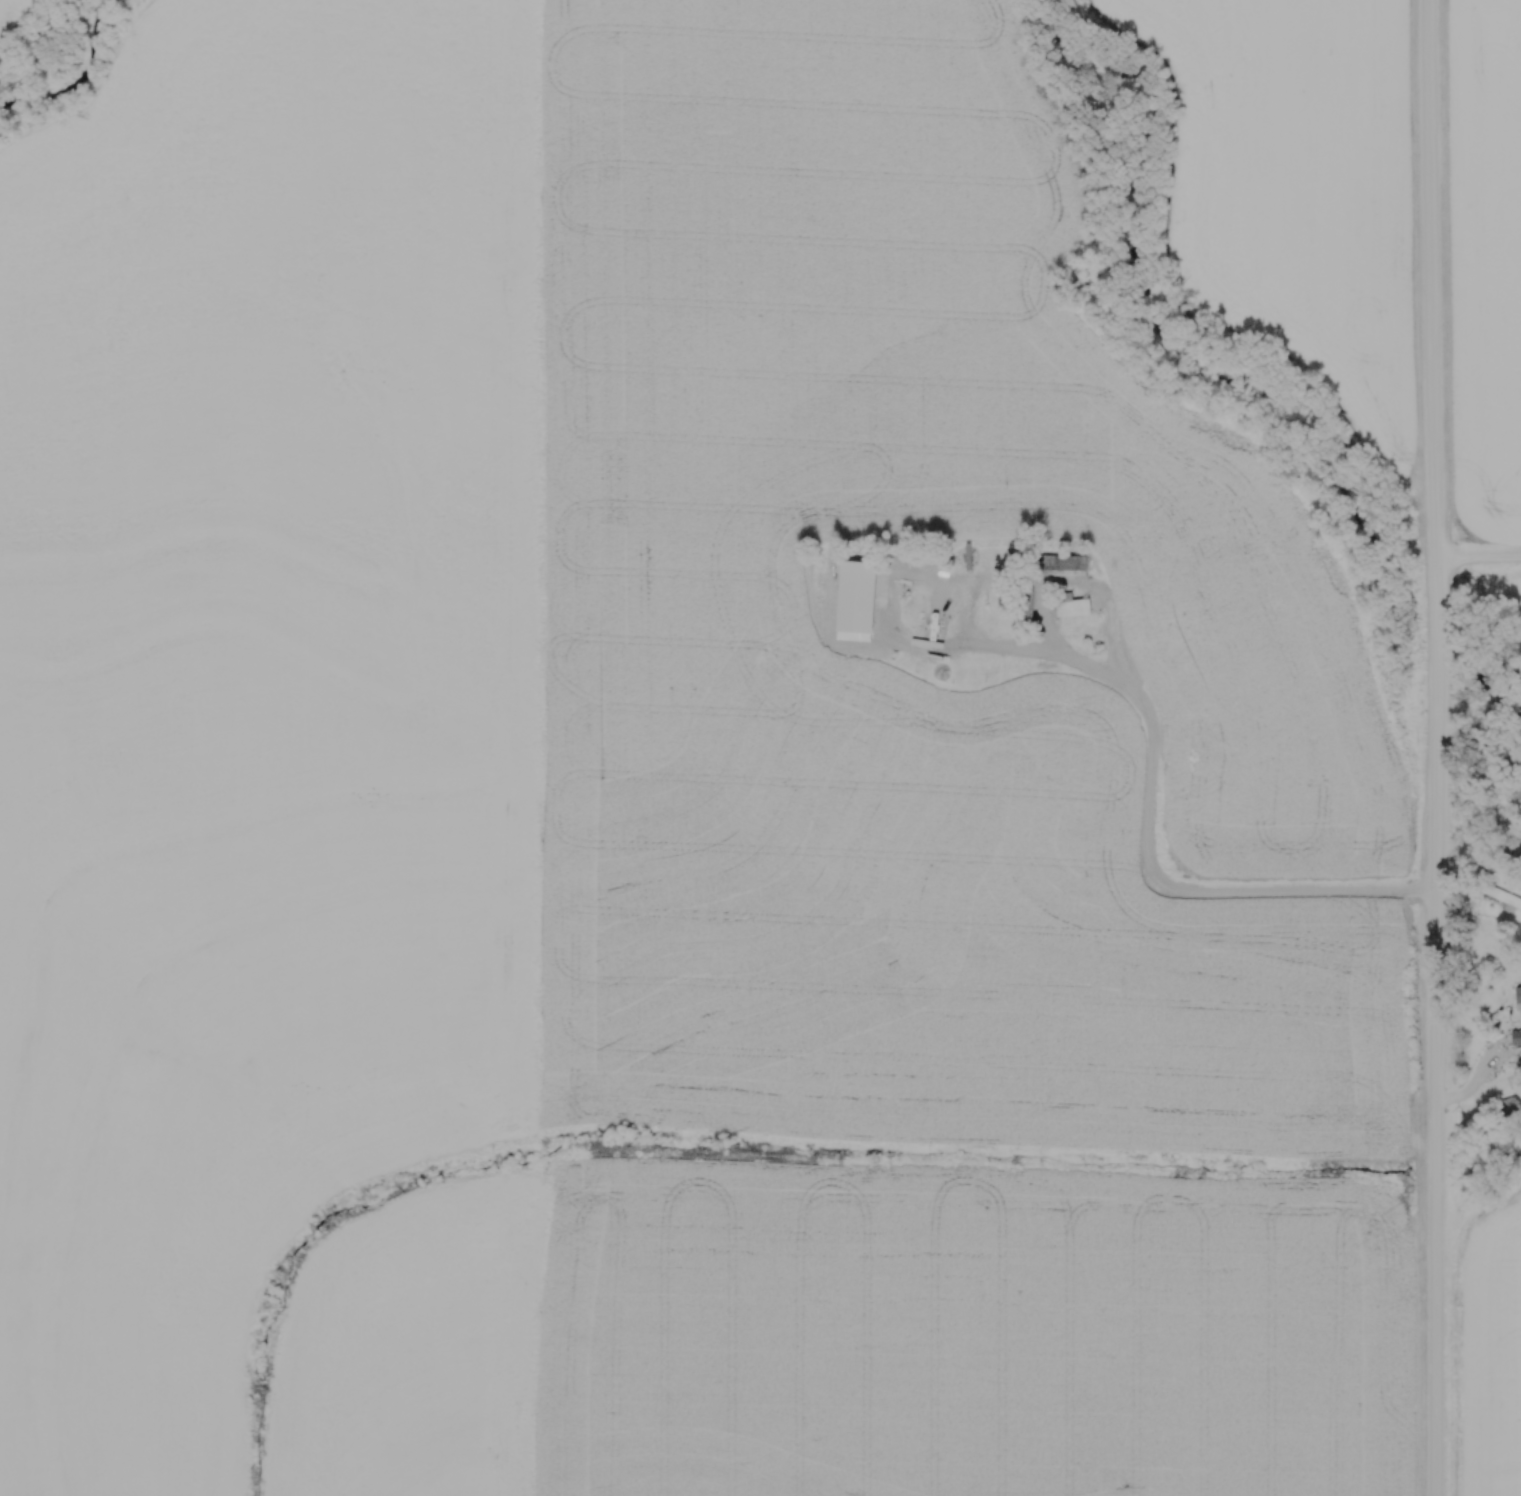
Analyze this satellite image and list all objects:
building: (975, 557)
road: (1478, 557)
building: (1075, 567)
building: (959, 594)
building: (1142, 600)
building: (866, 607)
building: (998, 608)
building: (1078, 608)
building: (996, 621)
road: (1086, 664)
building: (992, 672)
building: (1029, 674)
building: (1115, 707)
road: (1437, 747)
building: (1517, 998)
road: (1472, 1087)

